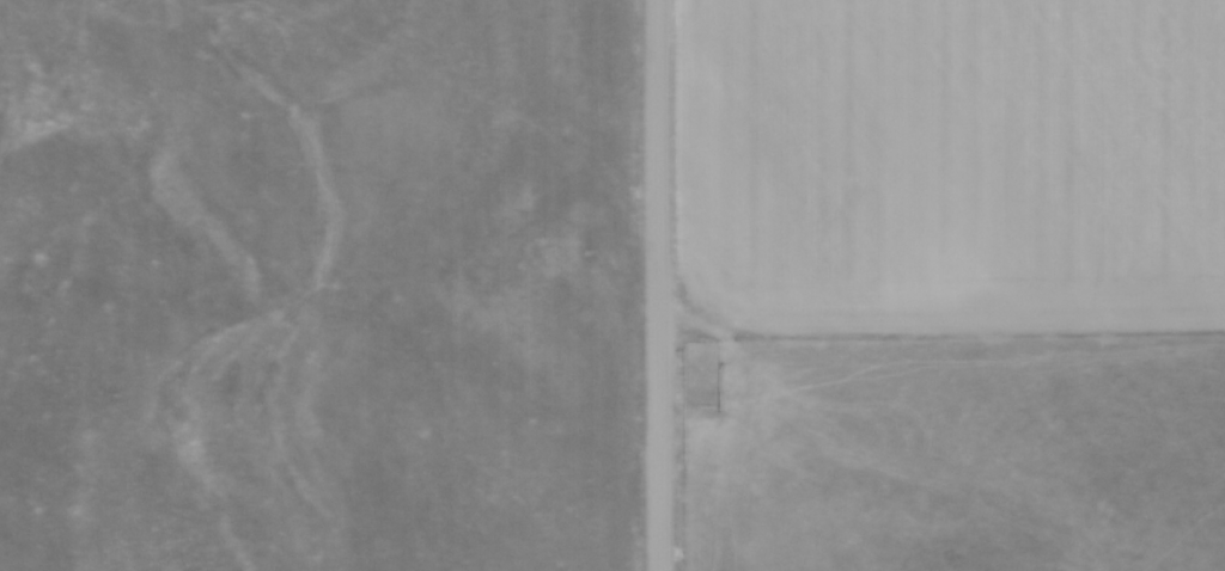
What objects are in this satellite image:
crop: (950, 166)
road: (656, 285)

